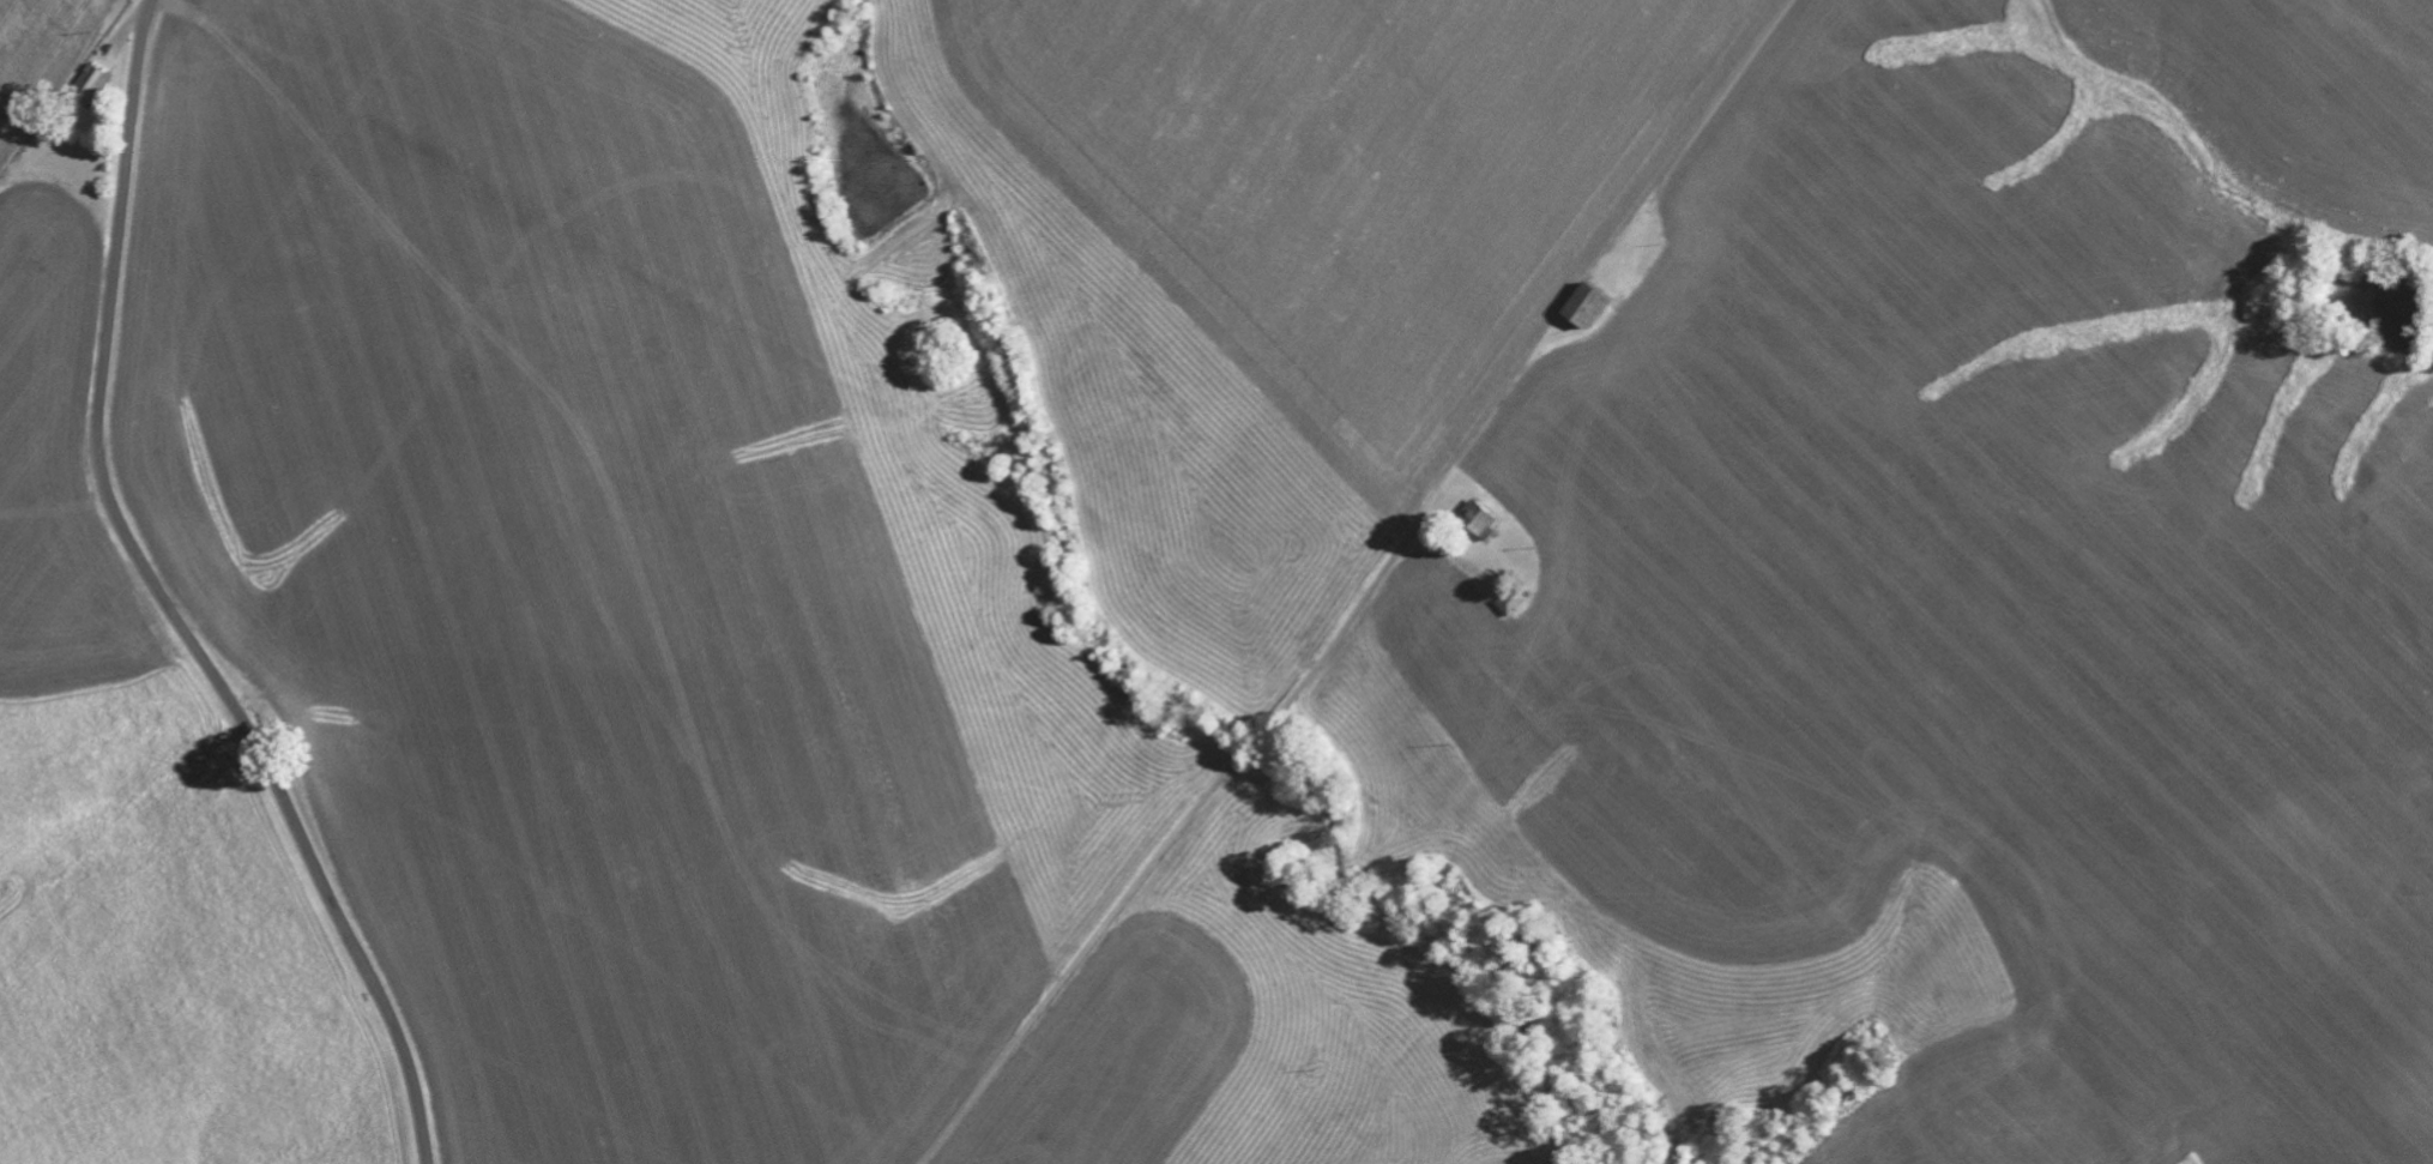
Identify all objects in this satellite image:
building: (92, 85)
building: (1575, 310)
road: (164, 602)
building: (1507, 607)
road: (1176, 819)

